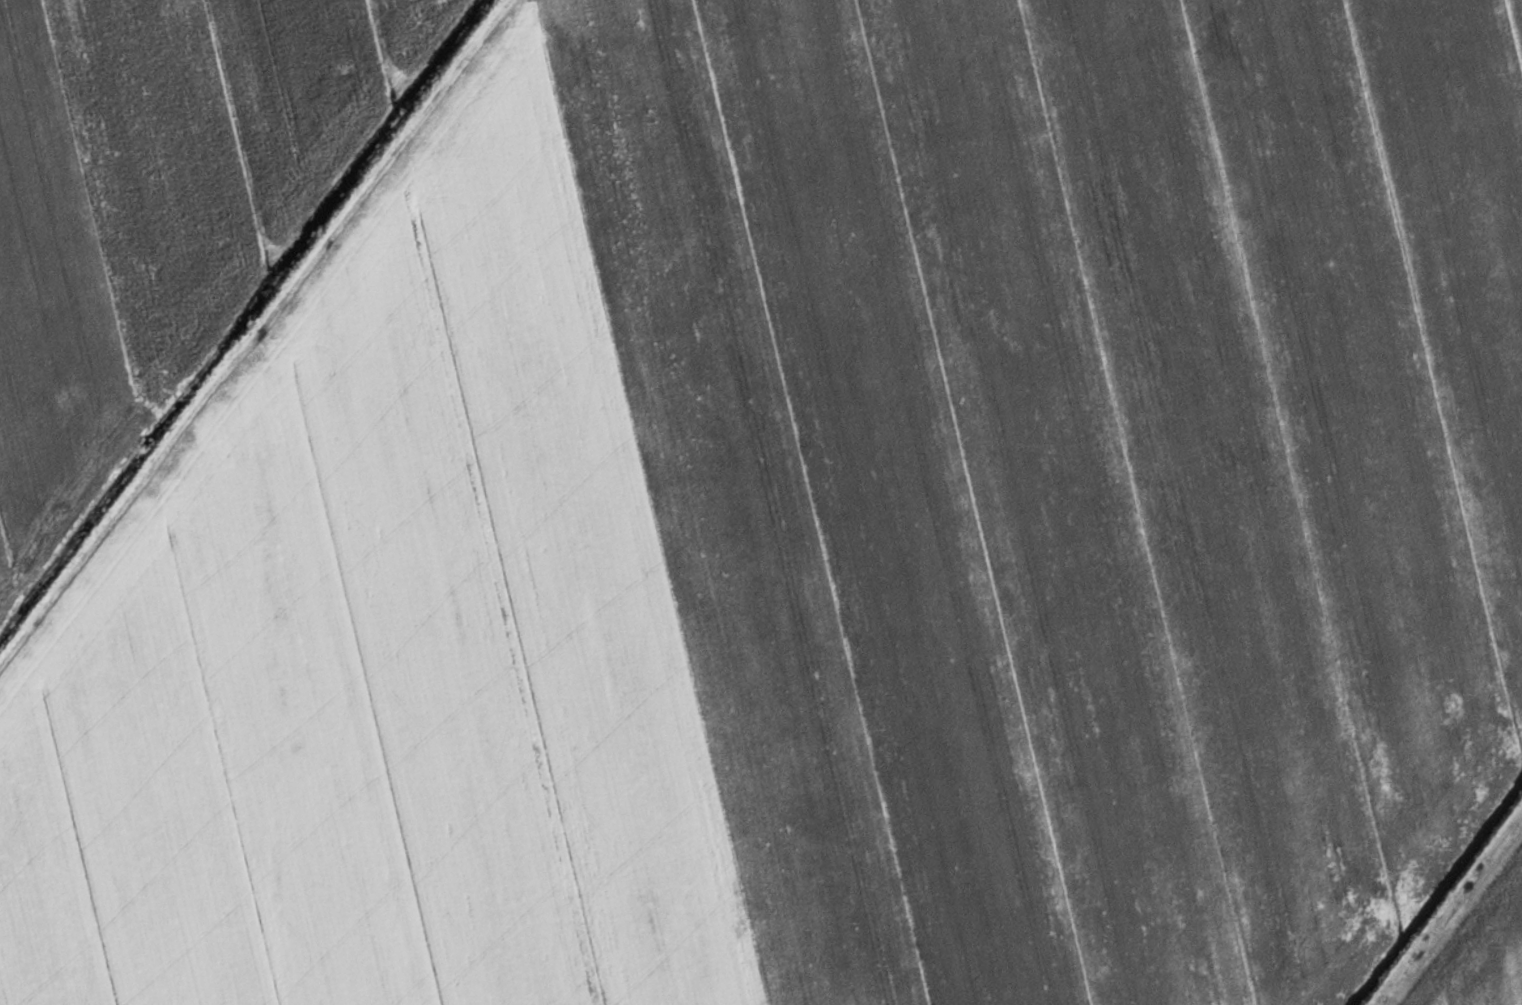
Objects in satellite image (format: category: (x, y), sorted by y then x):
crop: (156, 206)
road: (255, 334)
crop: (826, 531)
crop: (1474, 941)

